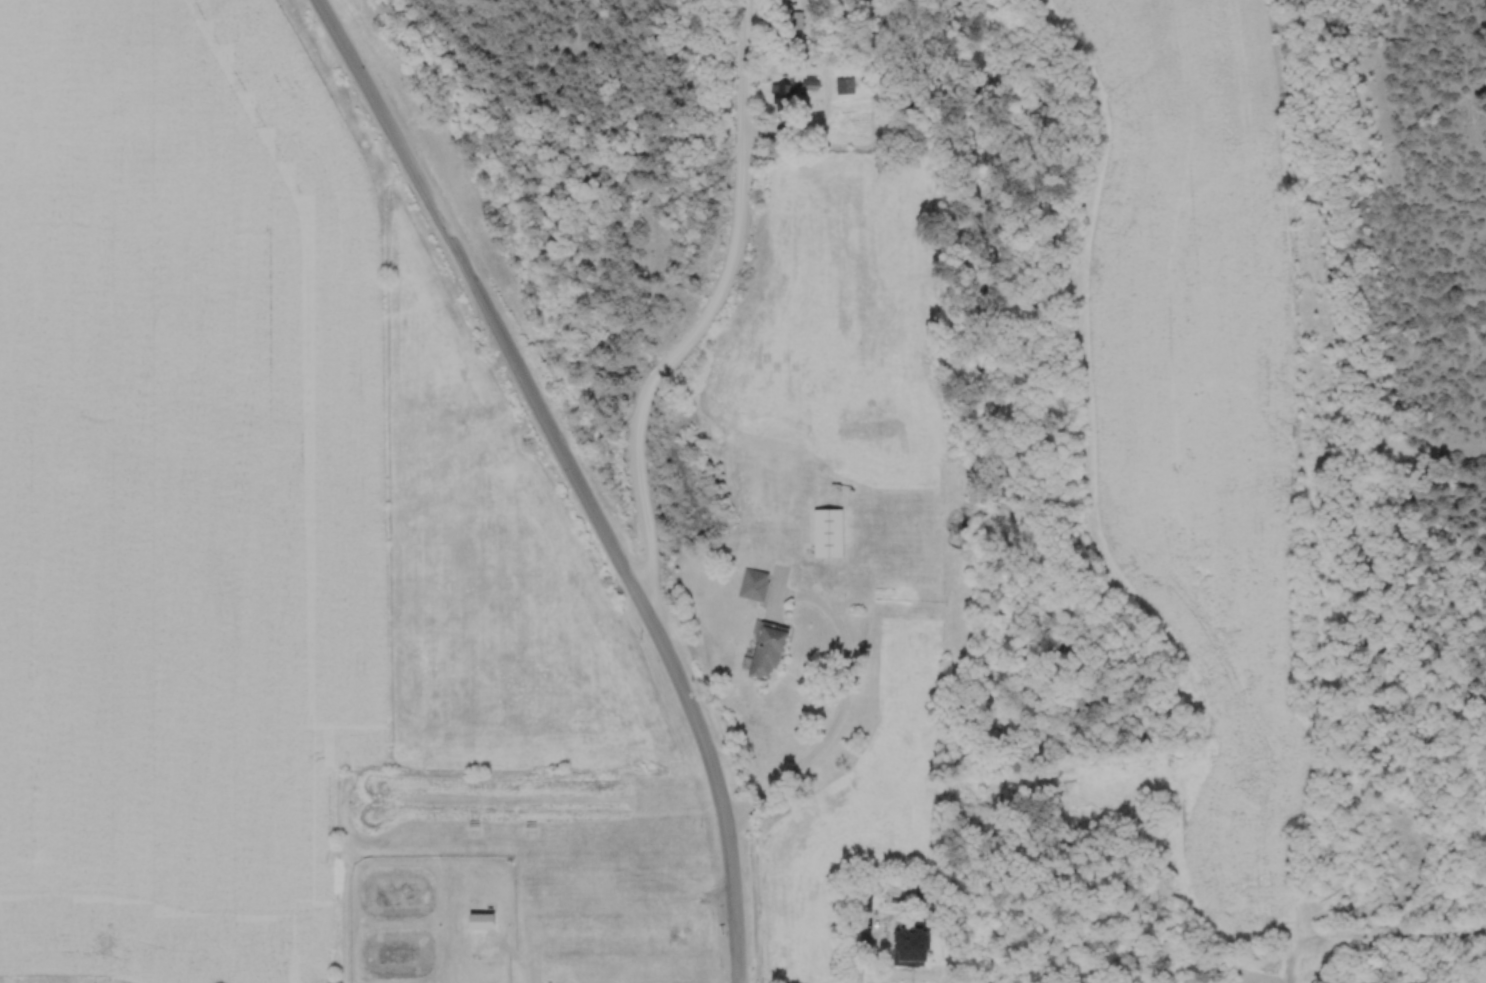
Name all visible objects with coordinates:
building: (796, 21)
road: (348, 64)
building: (843, 88)
road: (397, 146)
road: (705, 316)
building: (775, 491)
building: (830, 535)
road: (610, 561)
building: (755, 586)
building: (770, 652)
road: (842, 703)
building: (1071, 809)
road: (958, 897)
building: (865, 904)
building: (591, 934)
road: (527, 946)
building: (913, 947)
road: (1286, 965)

